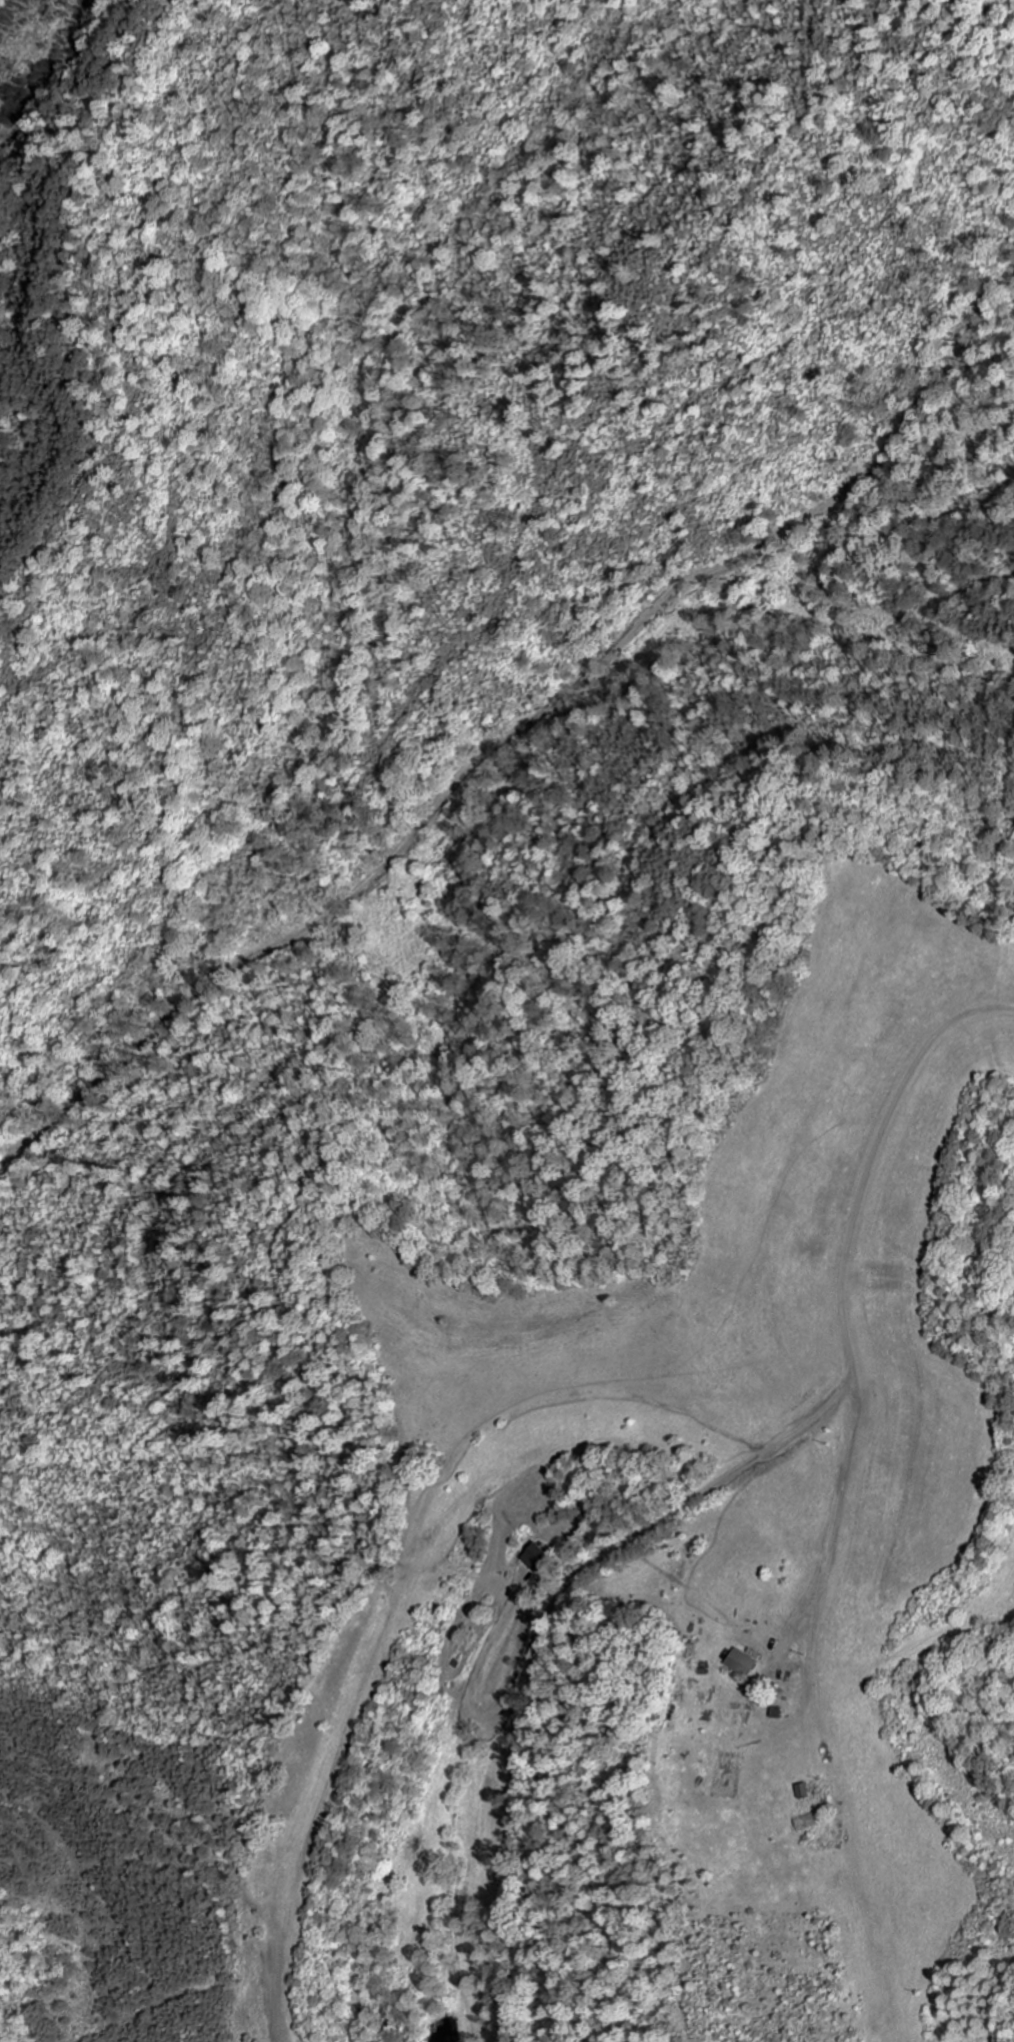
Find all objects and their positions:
road: (521, 731)
building: (540, 1557)
building: (747, 1661)

